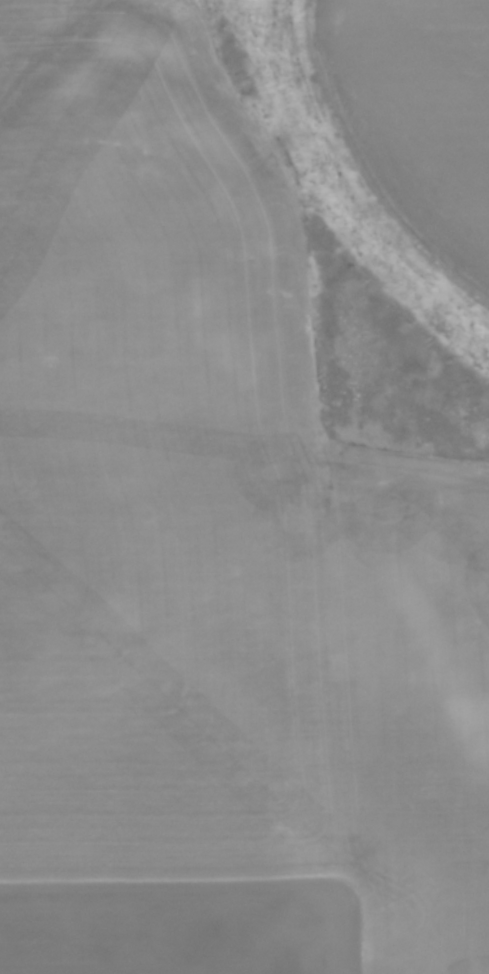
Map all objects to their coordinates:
crop: (416, 116)
crop: (210, 555)

